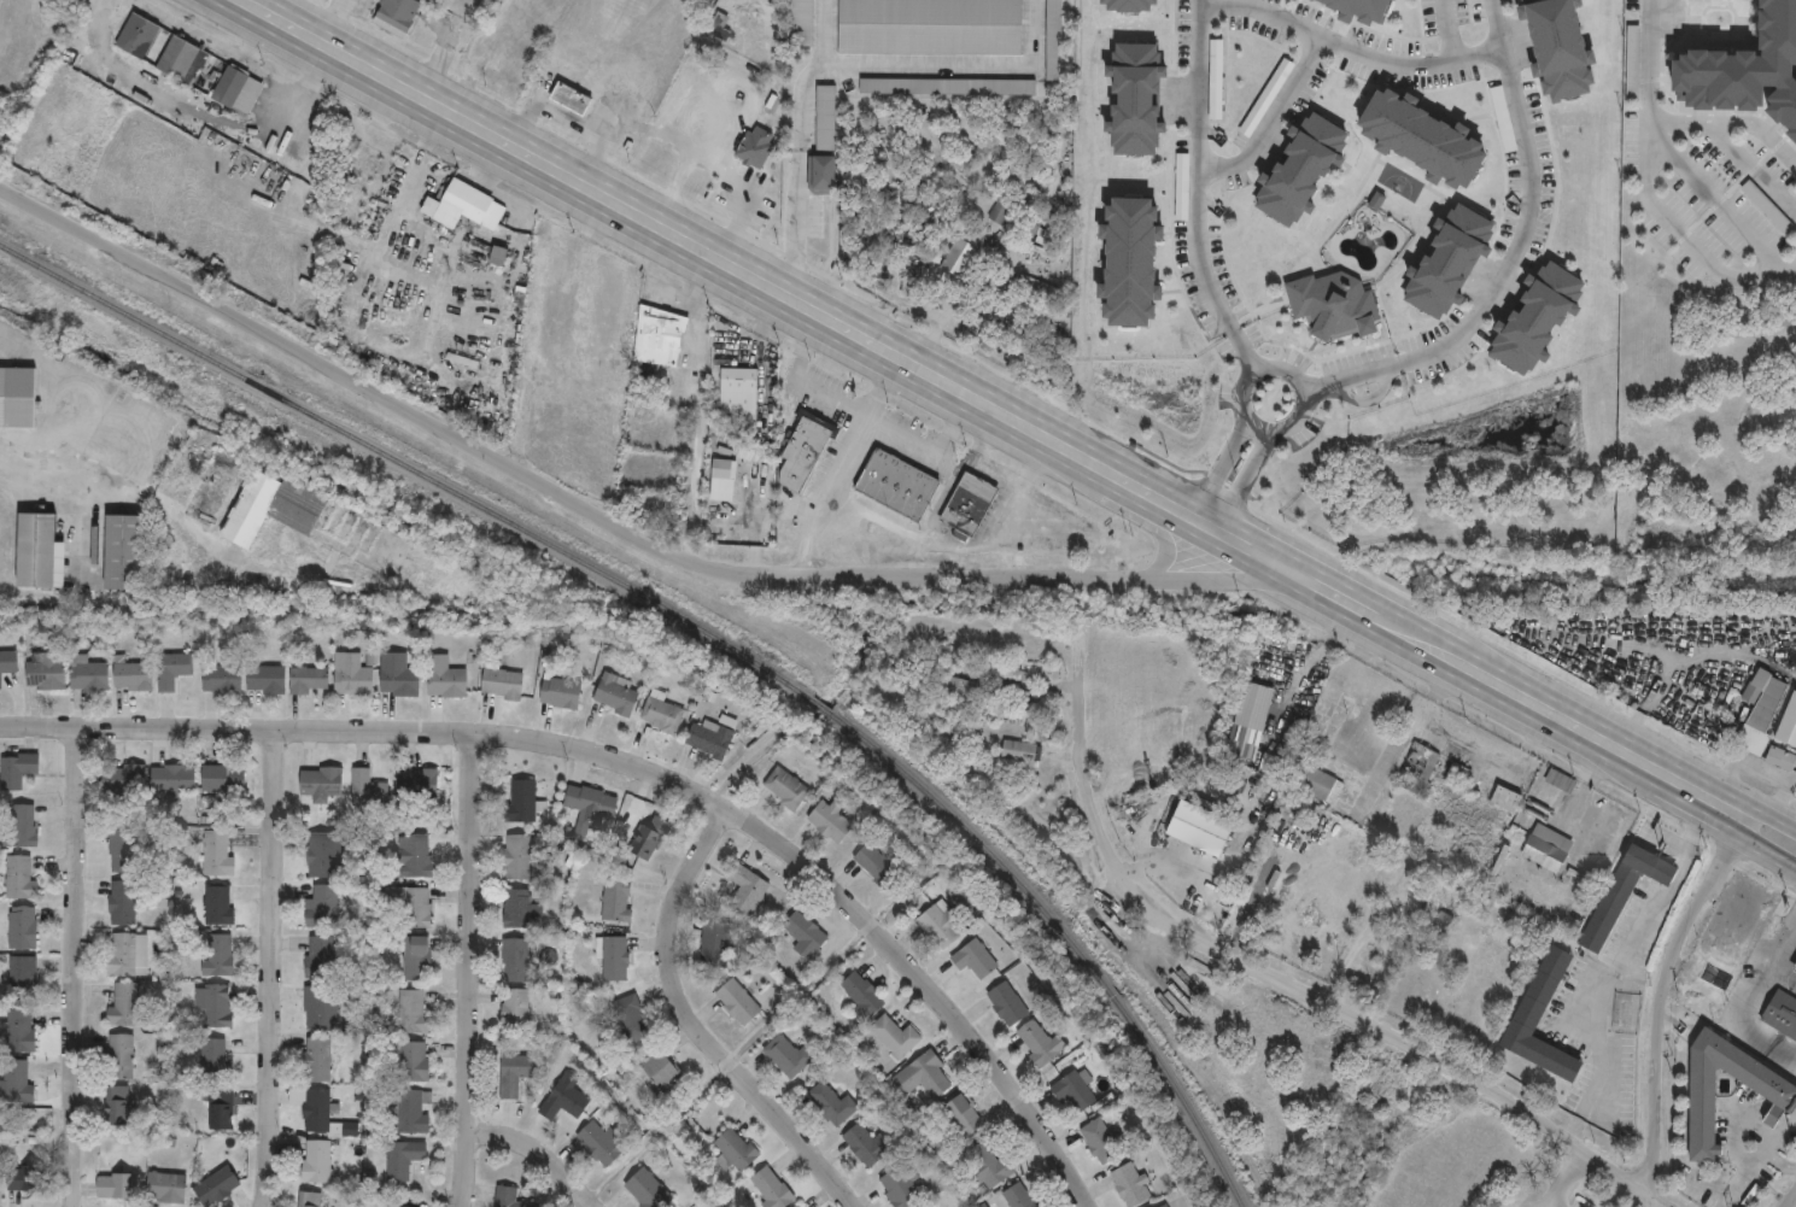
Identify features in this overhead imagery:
building: (1119, 4)
building: (1351, 7)
building: (396, 16)
building: (800, 22)
building: (719, 27)
building: (930, 27)
road: (1445, 29)
building: (139, 36)
building: (753, 37)
building: (1049, 39)
building: (1552, 47)
road: (1350, 48)
building: (182, 59)
building: (1633, 60)
road: (1646, 60)
building: (1747, 66)
building: (1217, 78)
building: (944, 84)
building: (238, 89)
building: (1266, 96)
building: (569, 99)
building: (1127, 99)
building: (823, 116)
building: (1504, 118)
road: (1270, 121)
road: (1734, 122)
building: (1412, 136)
building: (754, 150)
road: (796, 150)
road: (1199, 168)
building: (1295, 168)
building: (817, 172)
road: (719, 174)
building: (1181, 186)
building: (1019, 188)
building: (466, 205)
road: (1719, 206)
building: (1768, 206)
road: (1527, 207)
building: (999, 212)
building: (1052, 222)
building: (1039, 234)
road: (1684, 235)
building: (925, 241)
building: (499, 254)
building: (1118, 259)
building: (1440, 259)
building: (963, 260)
road: (718, 266)
building: (537, 286)
building: (1037, 287)
building: (1328, 303)
building: (583, 304)
building: (1532, 317)
building: (649, 332)
road: (1245, 351)
road: (551, 367)
building: (619, 370)
road: (1350, 377)
road: (802, 381)
road: (1299, 387)
building: (18, 396)
building: (738, 396)
building: (614, 397)
road: (703, 412)
building: (803, 449)
road: (937, 450)
road: (1221, 467)
road: (840, 468)
road: (994, 468)
building: (723, 479)
road: (1246, 479)
building: (897, 484)
road: (162, 503)
building: (969, 503)
road: (584, 509)
building: (303, 514)
road: (1010, 523)
building: (40, 551)
building: (124, 551)
road: (1294, 575)
railway: (703, 628)
building: (7, 664)
building: (175, 669)
building: (46, 670)
building: (88, 673)
building: (352, 674)
building: (133, 675)
building: (446, 676)
building: (222, 679)
building: (267, 679)
building: (310, 679)
building: (400, 681)
building: (503, 684)
building: (960, 687)
building: (561, 692)
building: (616, 693)
building: (1754, 693)
building: (1254, 705)
road: (1540, 705)
building: (662, 711)
building: (1763, 720)
building: (710, 738)
building: (1022, 750)
building: (1782, 760)
road: (742, 766)
road: (637, 768)
building: (1417, 768)
building: (18, 769)
building: (1458, 773)
building: (124, 778)
building: (172, 778)
building: (223, 778)
building: (1561, 779)
building: (322, 781)
building: (419, 781)
road: (1583, 781)
building: (1322, 785)
building: (369, 787)
building: (786, 787)
building: (1507, 798)
building: (523, 801)
road: (1750, 803)
building: (591, 804)
building: (831, 819)
building: (25, 824)
building: (1199, 828)
building: (649, 838)
road: (1739, 843)
building: (1546, 846)
building: (122, 849)
building: (217, 851)
building: (322, 852)
building: (414, 855)
building: (517, 856)
building: (876, 862)
building: (22, 875)
building: (748, 889)
building: (618, 898)
building: (122, 902)
building: (220, 903)
building: (413, 904)
building: (322, 906)
building: (520, 908)
building: (941, 925)
building: (23, 927)
building: (1737, 933)
building: (715, 944)
building: (122, 954)
building: (220, 954)
building: (320, 956)
building: (417, 957)
building: (614, 957)
building: (516, 959)
building: (973, 959)
road: (1615, 963)
road: (76, 967)
building: (1794, 967)
road: (271, 968)
road: (468, 971)
building: (1795, 971)
building: (23, 972)
road: (1281, 985)
building: (1599, 991)
building: (861, 994)
road: (1747, 1000)
building: (738, 1001)
building: (1008, 1002)
building: (123, 1003)
building: (216, 1003)
building: (318, 1007)
building: (414, 1010)
building: (516, 1010)
building: (1782, 1013)
road: (1661, 1015)
building: (633, 1016)
road: (698, 1025)
building: (21, 1032)
building: (895, 1036)
building: (1036, 1043)
building: (786, 1055)
building: (121, 1056)
building: (215, 1057)
building: (318, 1059)
building: (415, 1061)
building: (661, 1070)
building: (516, 1074)
building: (924, 1076)
building: (18, 1078)
building: (1075, 1089)
building: (1777, 1090)
building: (567, 1097)
building: (117, 1103)
building: (831, 1103)
building: (317, 1109)
building: (410, 1111)
building: (221, 1115)
building: (963, 1115)
building: (601, 1142)
building: (1100, 1142)
building: (867, 1146)
road: (539, 1148)
building: (736, 1149)
building: (404, 1159)
road: (1777, 1159)
building: (316, 1160)
building: (985, 1165)
building: (25, 1178)
road: (1739, 1178)
road: (1568, 1179)
building: (1130, 1184)
building: (116, 1185)
building: (218, 1185)
building: (166, 1187)
building: (772, 1187)
building: (900, 1188)
building: (648, 1189)
building: (1020, 1195)
building: (509, 1196)
building: (309, 1199)
road: (1790, 1199)
building: (392, 1205)
building: (801, 1205)
building: (1166, 1205)
building: (929, 1206)

